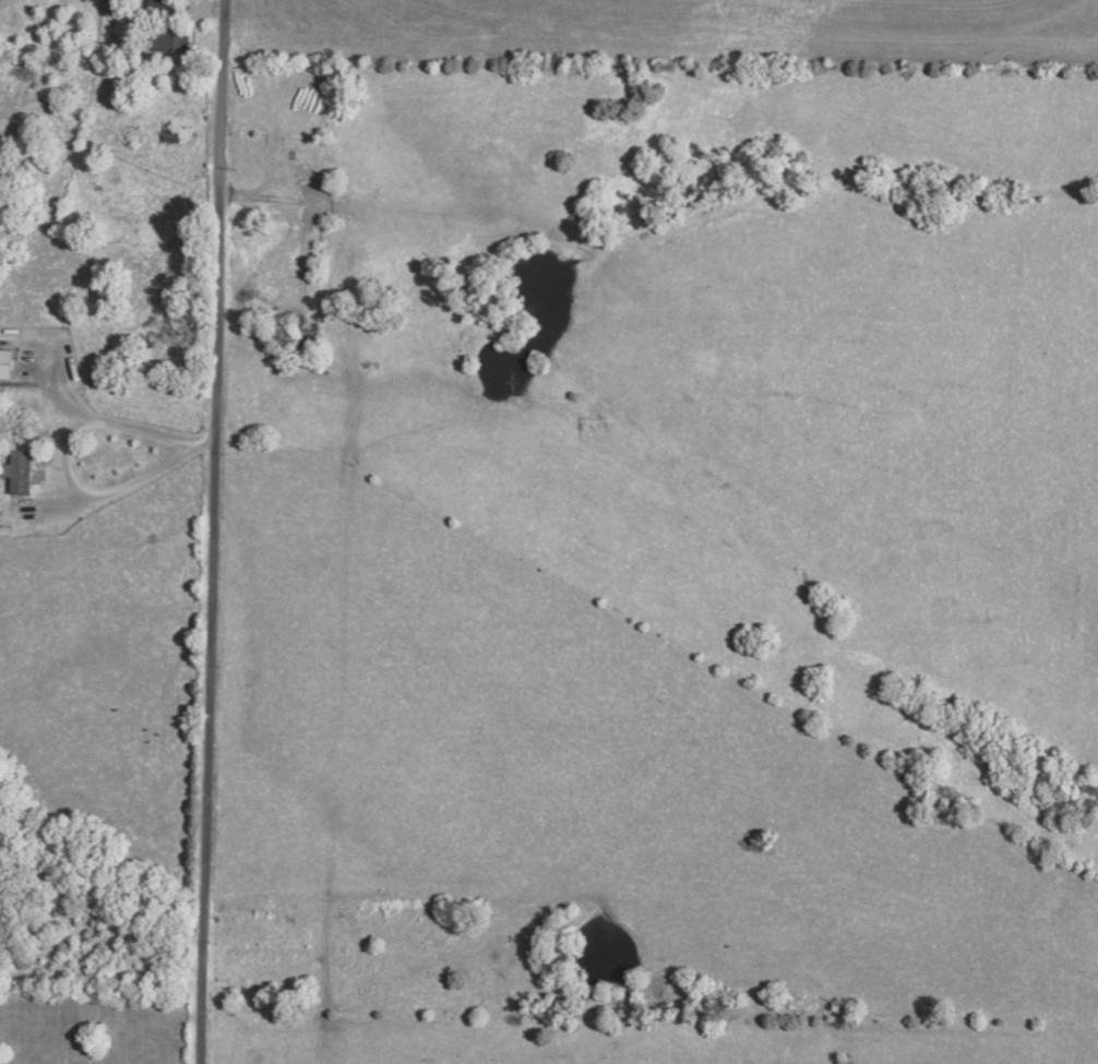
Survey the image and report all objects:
building: (162, 11)
building: (170, 41)
building: (174, 135)
building: (309, 326)
building: (8, 363)
road: (119, 422)
road: (203, 438)
building: (21, 471)
road: (211, 531)

